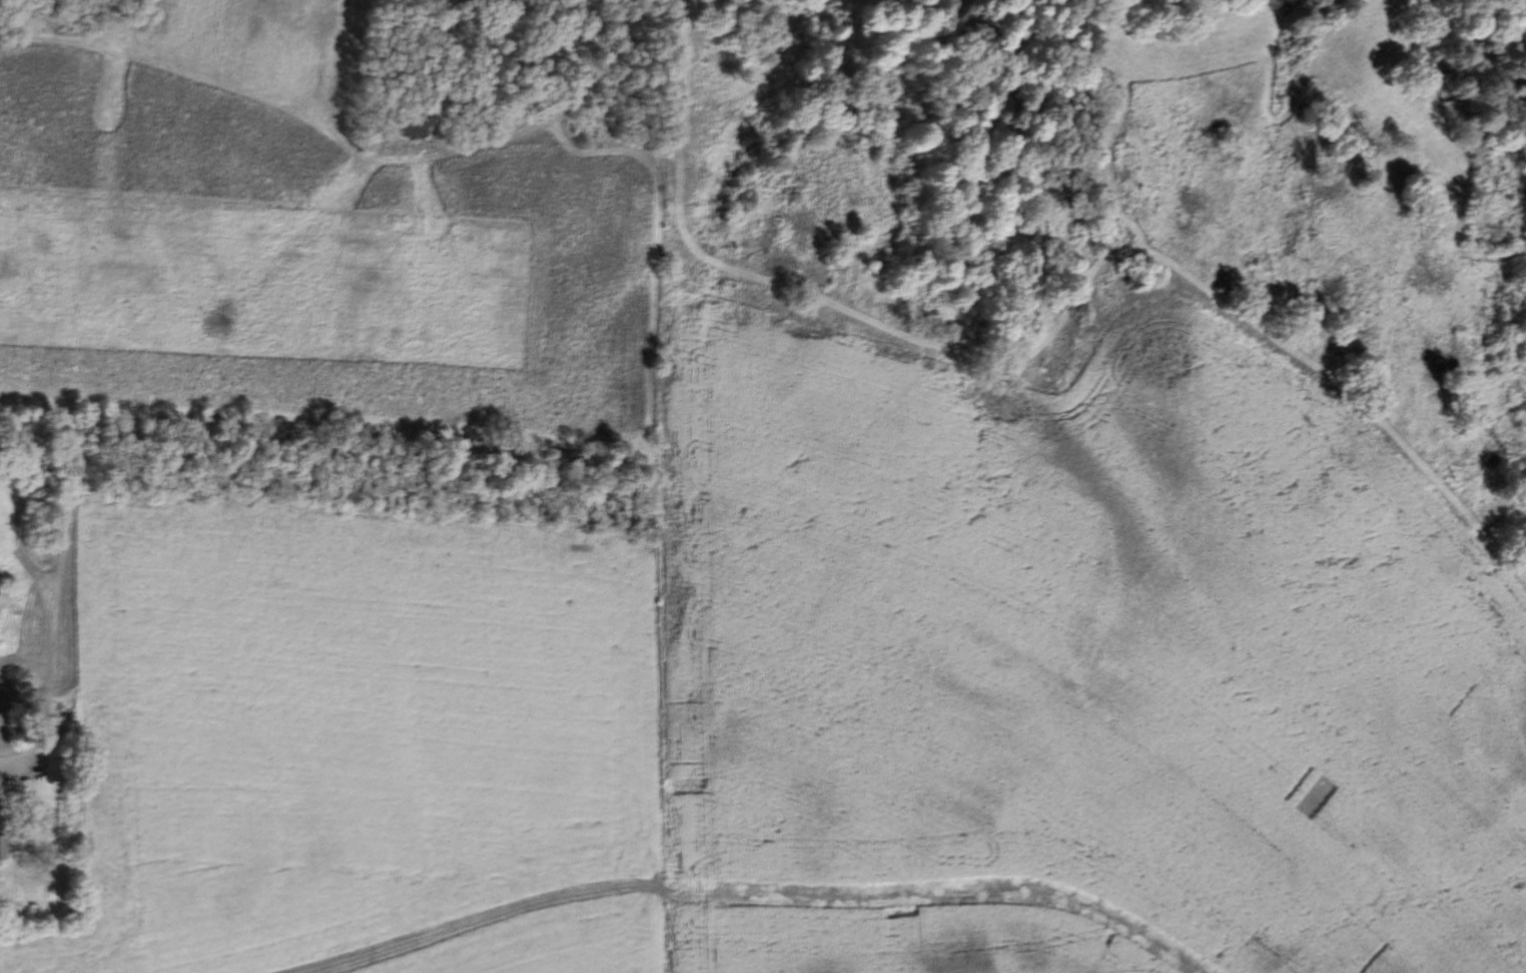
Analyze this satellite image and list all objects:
building: (53, 756)

